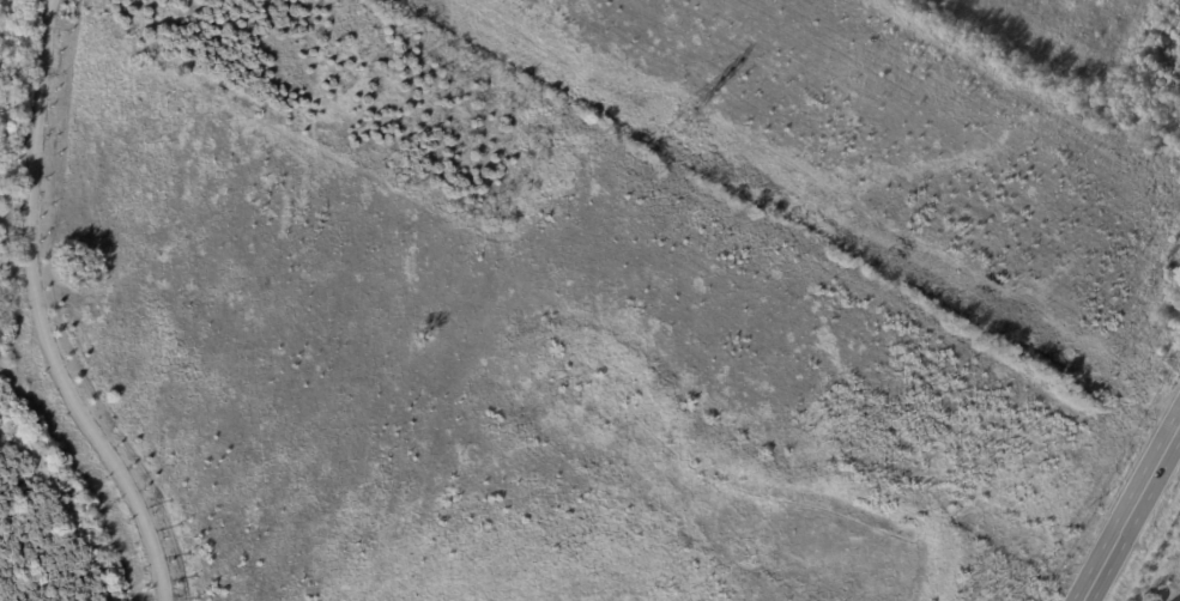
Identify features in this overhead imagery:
power tower: (679, 119)
road: (38, 314)
road: (1131, 511)

